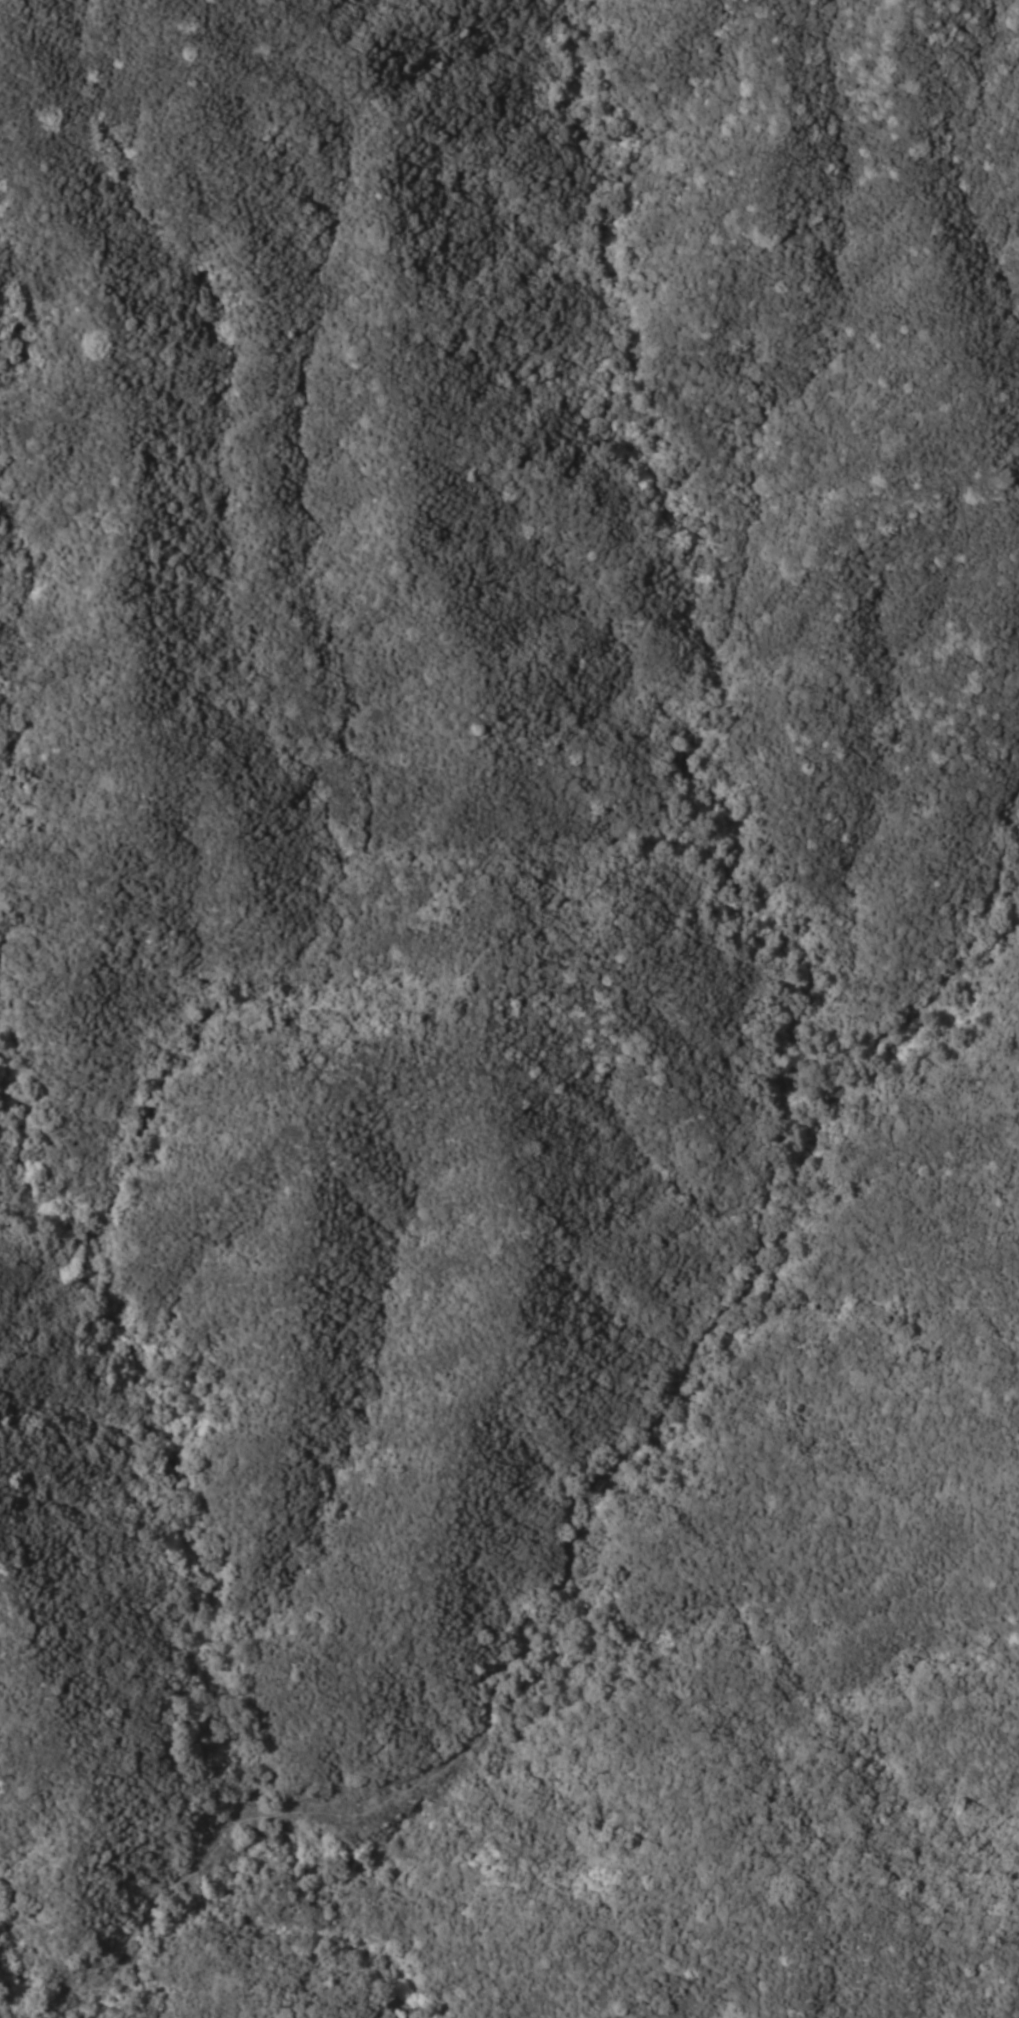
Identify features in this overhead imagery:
road: (600, 1513)

